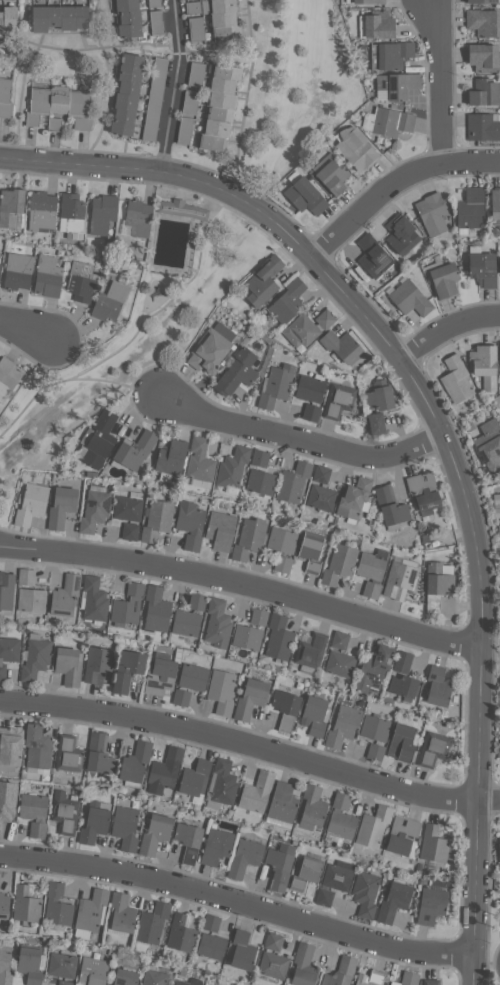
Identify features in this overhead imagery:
building: (369, 1)
building: (485, 1)
building: (155, 3)
building: (193, 7)
building: (62, 17)
building: (129, 17)
building: (226, 18)
building: (10, 20)
building: (158, 22)
building: (484, 22)
building: (383, 24)
building: (197, 28)
building: (392, 55)
building: (485, 57)
building: (197, 74)
road: (437, 78)
road: (173, 84)
building: (400, 84)
building: (485, 92)
building: (128, 94)
building: (5, 97)
building: (155, 99)
building: (191, 102)
building: (61, 105)
building: (222, 107)
building: (388, 121)
building: (56, 124)
building: (484, 126)
building: (186, 130)
building: (357, 148)
building: (334, 173)
road: (396, 183)
building: (306, 193)
building: (14, 206)
building: (497, 207)
building: (183, 209)
building: (472, 209)
building: (43, 211)
building: (72, 212)
building: (103, 213)
building: (433, 213)
building: (139, 217)
building: (403, 233)
park: (200, 235)
building: (375, 255)
building: (499, 265)
building: (0, 267)
building: (485, 269)
building: (19, 271)
building: (49, 276)
building: (447, 280)
building: (81, 281)
building: (265, 281)
building: (411, 299)
building: (289, 301)
building: (111, 302)
building: (326, 319)
road: (447, 328)
road: (26, 330)
building: (302, 331)
road: (138, 334)
building: (343, 346)
building: (213, 348)
road: (49, 365)
building: (487, 365)
building: (240, 372)
building: (8, 377)
building: (457, 380)
road: (115, 383)
building: (277, 386)
building: (312, 388)
building: (382, 396)
building: (339, 400)
building: (312, 412)
building: (380, 424)
road: (439, 433)
building: (99, 440)
road: (300, 440)
building: (490, 444)
building: (135, 451)
building: (173, 458)
building: (261, 458)
building: (201, 464)
building: (233, 467)
building: (322, 474)
building: (261, 481)
building: (294, 482)
building: (425, 492)
building: (322, 498)
building: (356, 500)
building: (32, 503)
building: (129, 506)
building: (497, 506)
building: (63, 507)
building: (392, 507)
building: (95, 509)
building: (158, 520)
building: (192, 524)
building: (499, 529)
building: (131, 531)
building: (222, 531)
building: (250, 539)
building: (282, 540)
building: (312, 550)
building: (284, 564)
building: (340, 564)
building: (374, 564)
building: (27, 576)
building: (401, 578)
building: (439, 584)
road: (241, 588)
building: (372, 589)
building: (7, 590)
building: (66, 596)
building: (32, 600)
building: (95, 600)
building: (198, 601)
building: (129, 605)
building: (158, 609)
building: (260, 616)
building: (219, 623)
building: (188, 624)
building: (248, 637)
building: (280, 637)
building: (341, 640)
building: (312, 652)
building: (8, 654)
building: (36, 659)
building: (341, 664)
building: (71, 665)
building: (99, 665)
building: (129, 669)
building: (377, 669)
building: (162, 675)
building: (404, 676)
building: (195, 677)
building: (440, 687)
building: (223, 691)
building: (183, 697)
building: (253, 698)
building: (288, 708)
building: (317, 715)
building: (345, 725)
building: (377, 735)
building: (404, 742)
road: (250, 746)
building: (11, 748)
building: (435, 748)
building: (39, 749)
building: (71, 754)
building: (100, 756)
building: (137, 764)
building: (166, 771)
building: (197, 780)
building: (224, 783)
building: (258, 792)
building: (8, 802)
building: (284, 805)
building: (314, 808)
building: (36, 813)
building: (66, 813)
building: (343, 818)
building: (97, 821)
building: (375, 826)
building: (127, 827)
building: (157, 834)
building: (404, 834)
building: (190, 841)
building: (436, 843)
building: (218, 846)
building: (499, 848)
building: (246, 858)
building: (281, 866)
building: (309, 873)
building: (339, 878)
building: (367, 893)
building: (326, 897)
building: (396, 901)
building: (499, 901)
road: (237, 902)
building: (28, 903)
building: (4, 904)
building: (433, 905)
building: (59, 906)
building: (92, 913)
building: (123, 915)
building: (154, 923)
building: (183, 932)
building: (213, 939)
building: (275, 941)
building: (244, 950)
building: (33, 964)
building: (5, 965)
building: (275, 965)
building: (306, 965)
building: (64, 966)
building: (95, 971)
building: (343, 972)
building: (127, 977)
building: (156, 978)
building: (372, 978)
building: (409, 978)
building: (67, 982)
building: (196, 982)
building: (432, 982)

